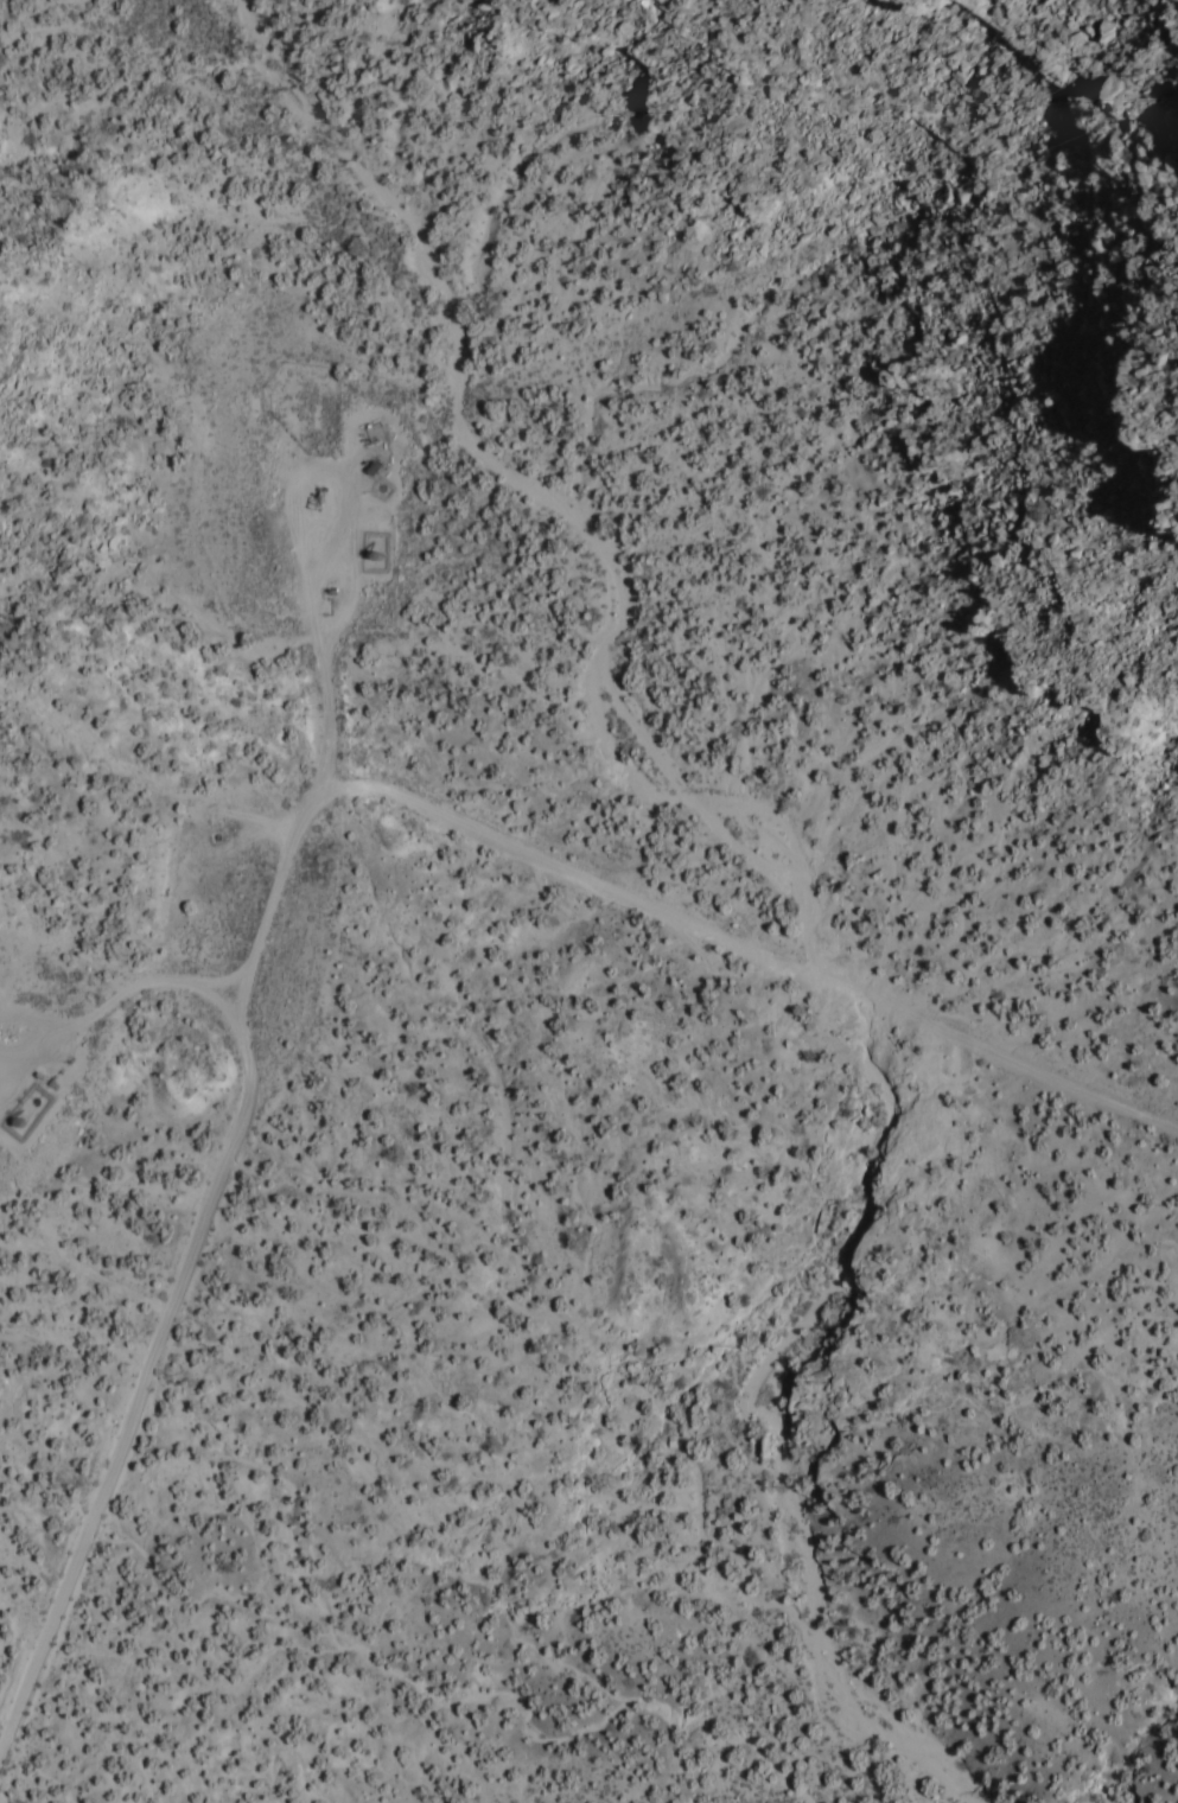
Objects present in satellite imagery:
road: (305, 534)
road: (294, 843)
road: (147, 985)

